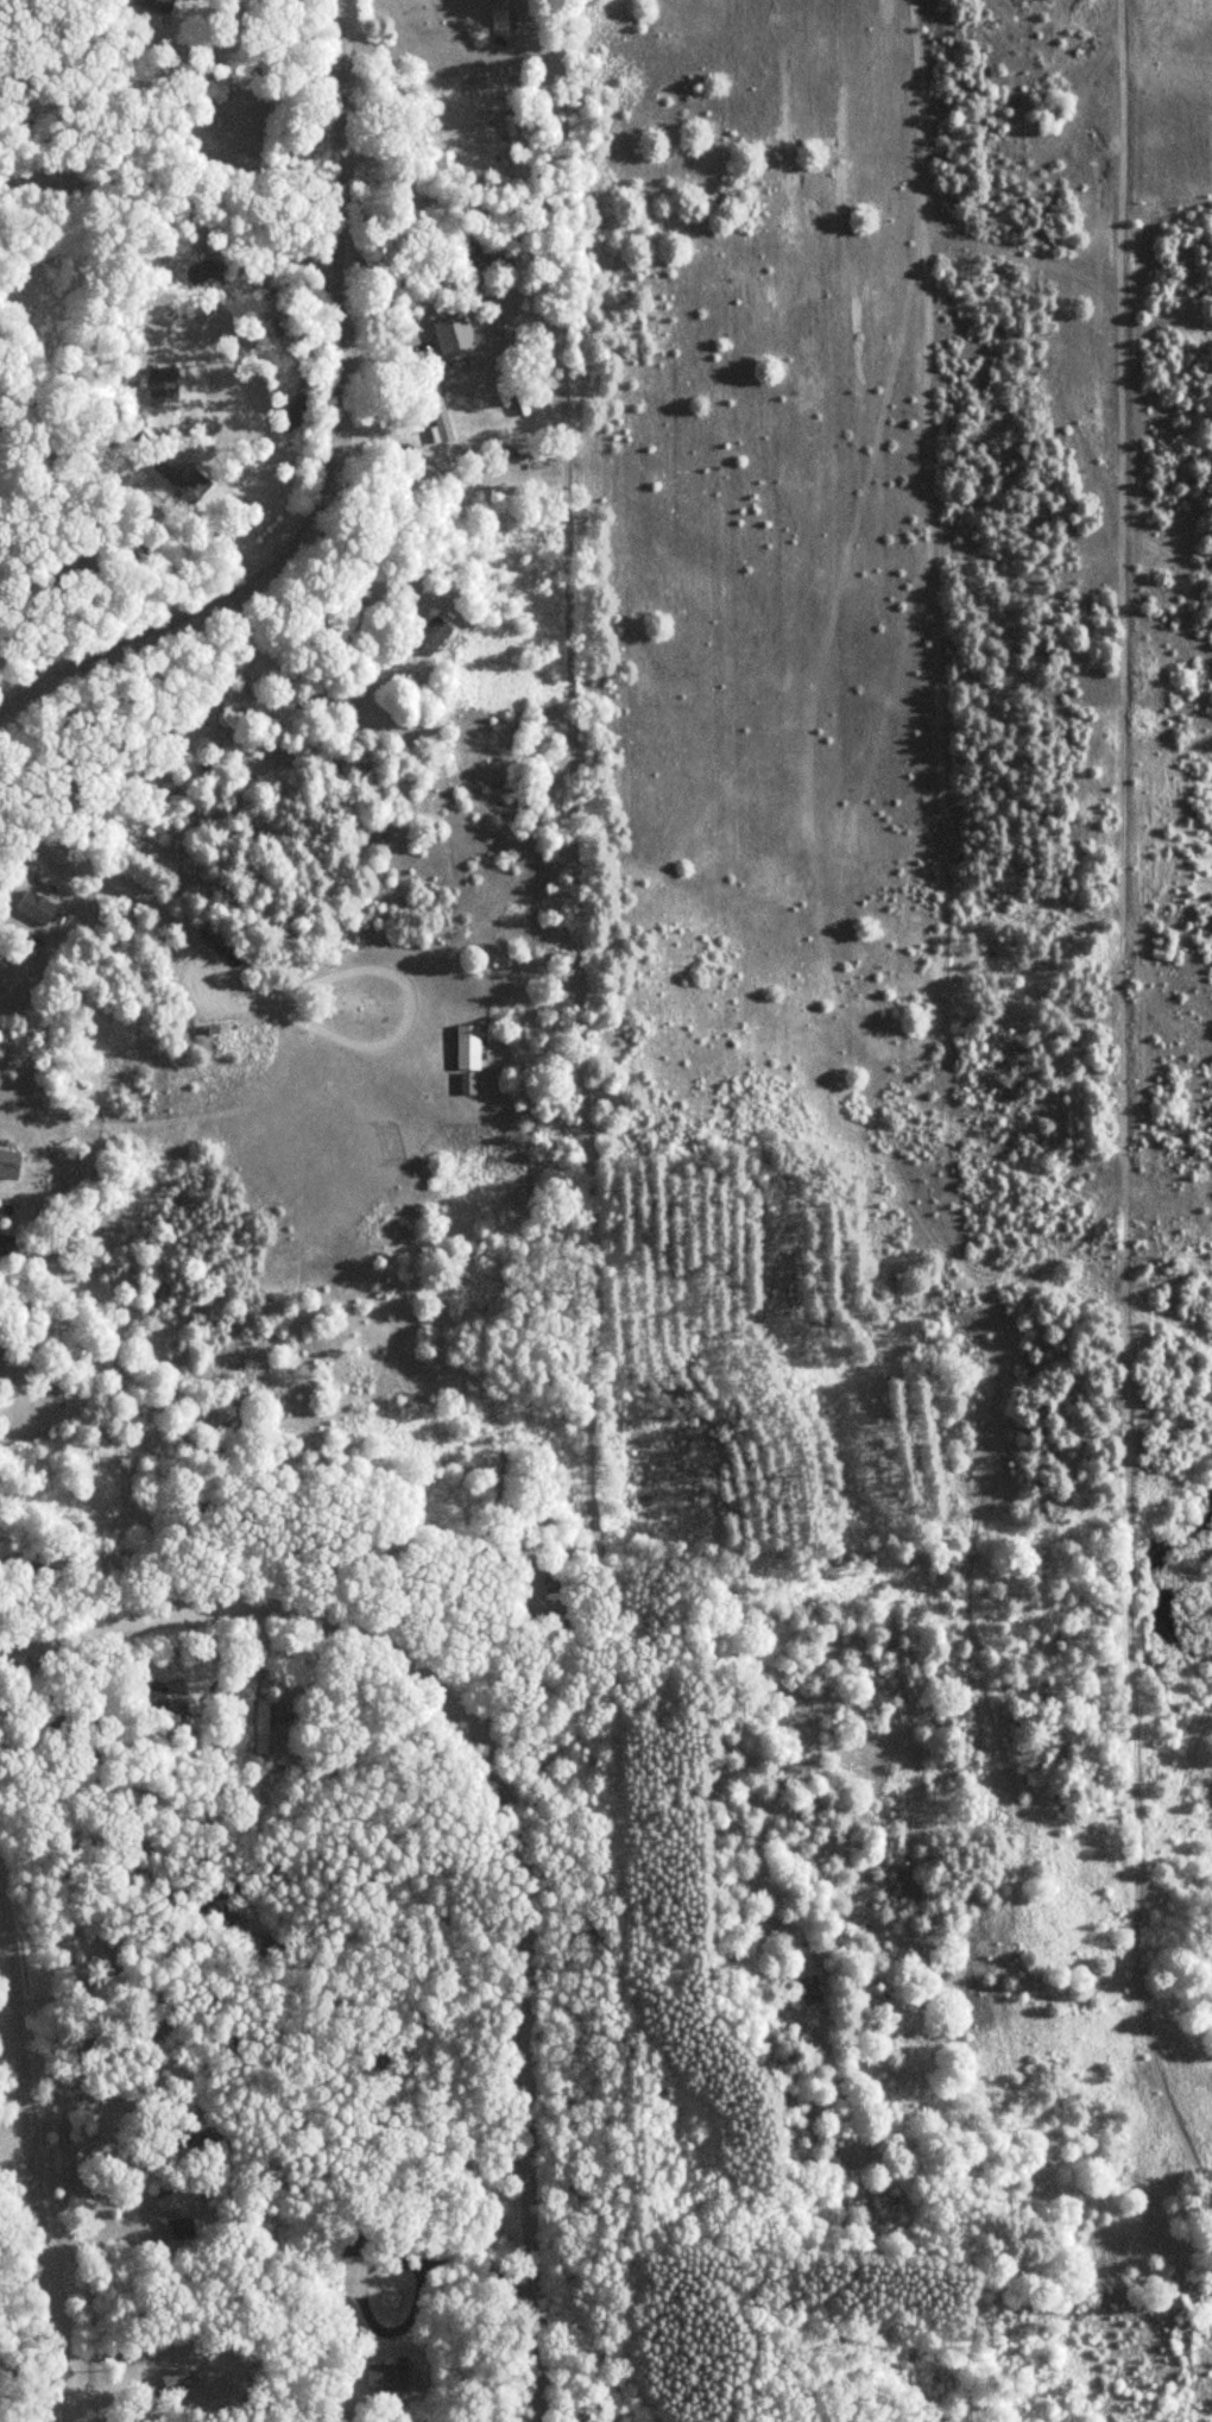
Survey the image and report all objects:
building: (162, 4)
building: (500, 20)
road: (171, 209)
building: (486, 244)
building: (440, 414)
road: (334, 446)
building: (184, 481)
building: (434, 632)
road: (121, 881)
building: (37, 906)
building: (469, 1047)
building: (469, 1083)
building: (10, 1161)
building: (7, 1243)
building: (550, 1596)
building: (84, 1724)
building: (266, 1727)
road: (509, 1812)
building: (389, 1885)
building: (813, 1989)
building: (203, 2136)
road: (13, 2140)
road: (30, 2157)
building: (185, 2193)
building: (187, 2226)
building: (390, 2376)
building: (184, 2380)

